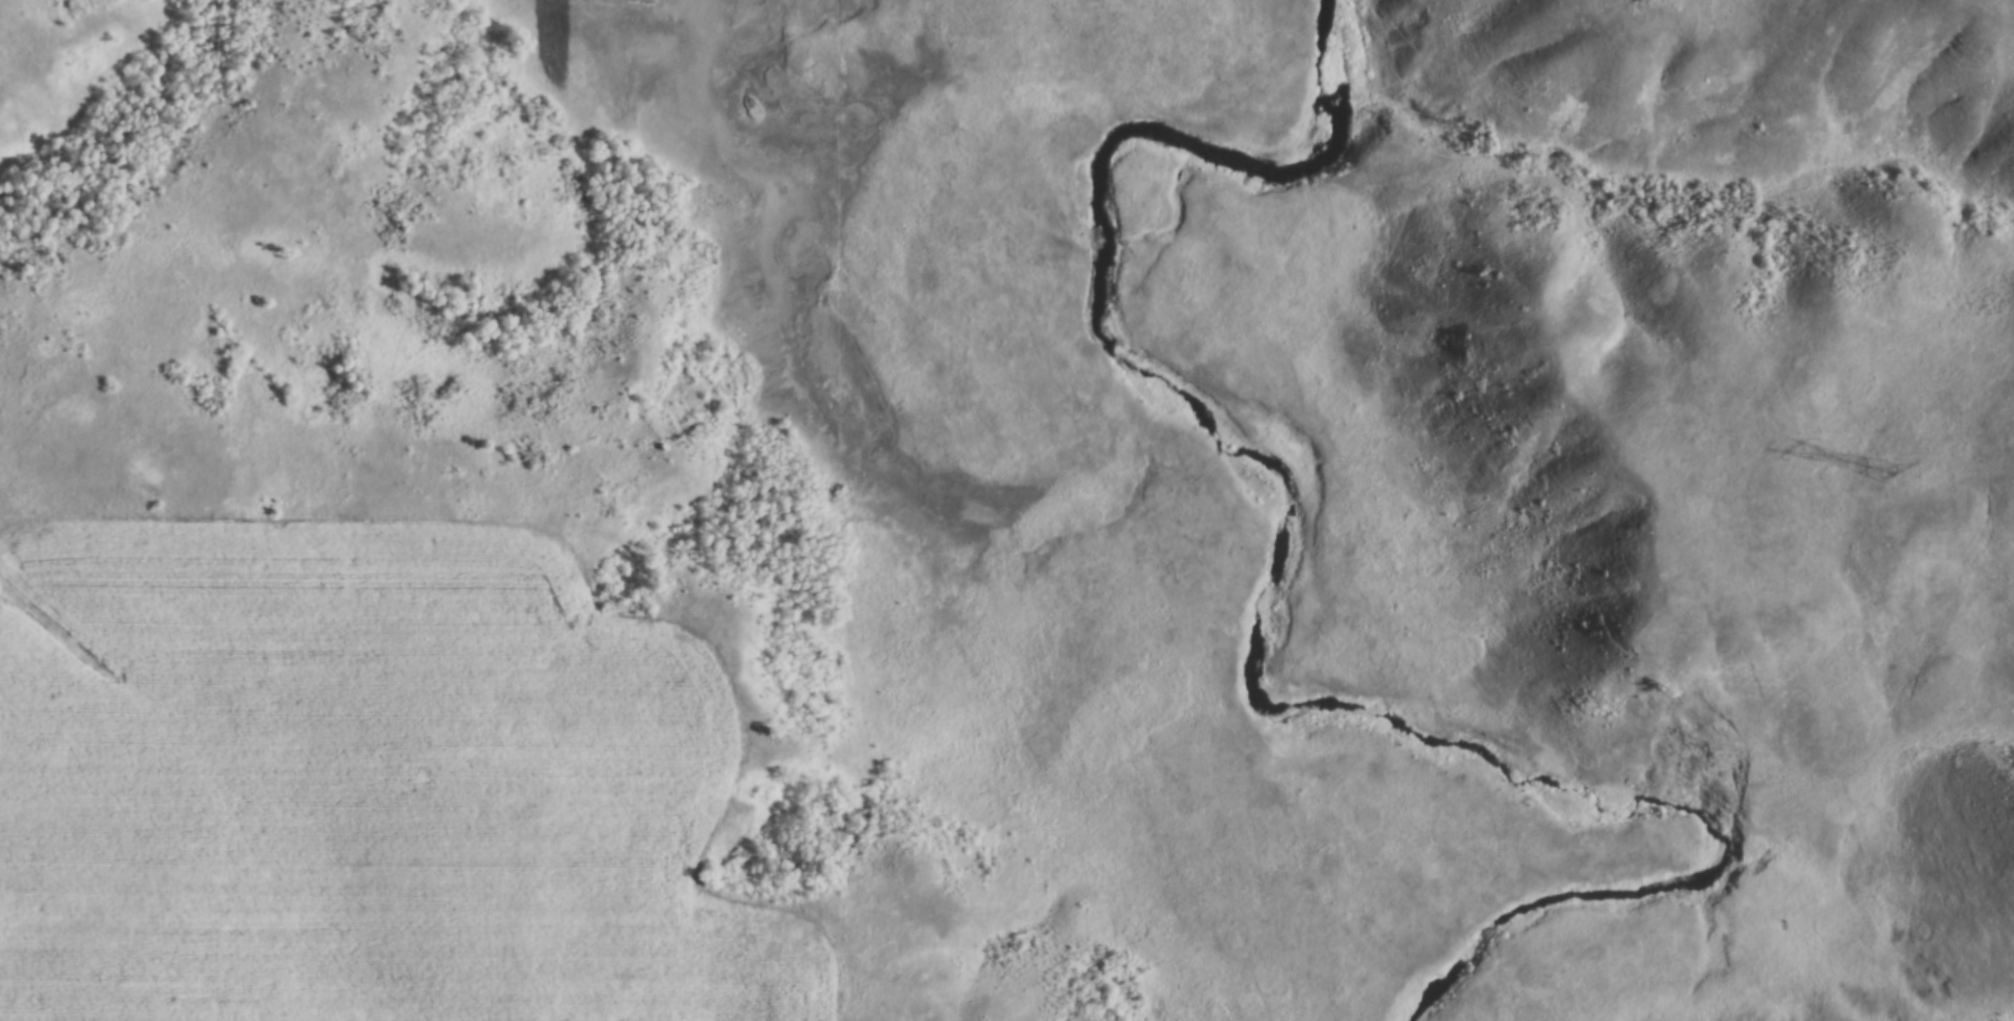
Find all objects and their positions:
power tower: (1863, 483)

